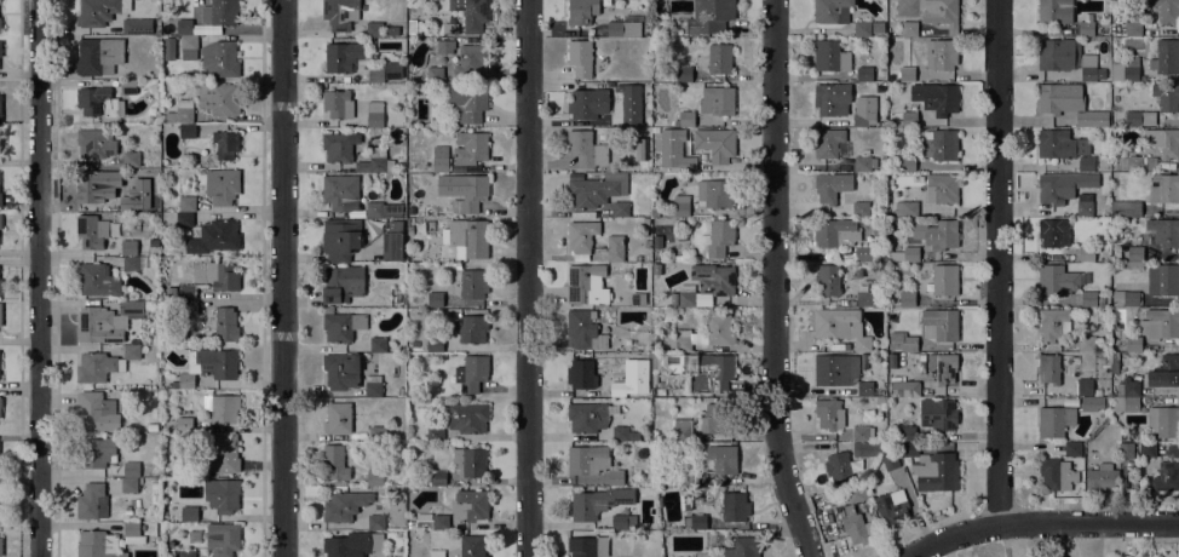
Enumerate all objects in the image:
building: (1167, 10)
building: (99, 11)
building: (581, 11)
building: (832, 11)
building: (1053, 11)
building: (220, 12)
building: (931, 12)
building: (341, 13)
building: (475, 15)
building: (707, 17)
building: (137, 25)
building: (412, 25)
building: (876, 27)
building: (185, 28)
building: (449, 28)
building: (1086, 28)
building: (1133, 28)
building: (374, 29)
building: (622, 29)
building: (862, 29)
building: (909, 29)
building: (390, 30)
building: (1068, 30)
building: (188, 47)
building: (444, 47)
building: (0, 48)
building: (168, 48)
building: (941, 54)
building: (1058, 54)
building: (98, 56)
building: (830, 56)
building: (343, 57)
building: (580, 57)
building: (1166, 57)
building: (719, 58)
building: (219, 59)
building: (471, 61)
building: (1091, 68)
building: (1125, 69)
building: (392, 70)
building: (684, 73)
building: (864, 73)
building: (375, 74)
building: (436, 74)
building: (907, 74)
building: (1060, 75)
building: (128, 87)
building: (936, 97)
building: (1166, 97)
building: (218, 98)
building: (832, 98)
building: (717, 101)
building: (98, 102)
building: (468, 102)
building: (629, 102)
building: (334, 103)
building: (587, 103)
building: (1068, 107)
building: (0, 108)
building: (179, 113)
building: (374, 114)
building: (1140, 117)
building: (686, 119)
building: (862, 119)
building: (907, 119)
building: (186, 131)
building: (827, 142)
building: (94, 143)
building: (1168, 143)
building: (226, 144)
building: (1060, 144)
building: (941, 145)
building: (339, 147)
building: (0, 148)
building: (721, 148)
building: (586, 149)
building: (638, 149)
building: (470, 150)
building: (132, 159)
building: (439, 159)
building: (375, 161)
building: (864, 162)
building: (1086, 162)
building: (1135, 162)
building: (907, 163)
building: (688, 167)
building: (610, 168)
building: (222, 185)
building: (1062, 186)
building: (92, 188)
building: (593, 188)
building: (826, 188)
building: (942, 188)
building: (1163, 188)
building: (339, 191)
building: (715, 193)
building: (0, 194)
building: (471, 195)
building: (127, 203)
building: (186, 203)
building: (1083, 205)
building: (679, 207)
building: (859, 208)
building: (905, 208)
building: (1125, 208)
building: (383, 209)
building: (620, 209)
building: (655, 212)
building: (184, 219)
building: (418, 219)
building: (1117, 219)
building: (0, 220)
building: (654, 220)
building: (645, 222)
building: (409, 230)
building: (91, 231)
building: (834, 232)
building: (1053, 232)
building: (939, 234)
building: (1163, 234)
building: (581, 236)
building: (214, 237)
building: (465, 237)
building: (718, 237)
building: (340, 239)
building: (392, 241)
building: (646, 243)
building: (128, 247)
building: (614, 248)
building: (1086, 253)
building: (1129, 253)
building: (862, 254)
building: (909, 254)
road: (996, 263)
building: (131, 264)
building: (654, 265)
building: (1134, 265)
building: (223, 276)
road: (39, 278)
road: (281, 278)
road: (527, 278)
building: (96, 280)
building: (827, 280)
building: (944, 280)
building: (1058, 280)
building: (1163, 280)
road: (773, 281)
building: (341, 283)
building: (470, 283)
building: (586, 285)
building: (0, 286)
building: (704, 286)
building: (186, 292)
building: (1125, 298)
building: (435, 299)
building: (638, 299)
building: (865, 299)
building: (907, 299)
building: (1091, 299)
building: (189, 308)
building: (0, 314)
building: (105, 322)
building: (835, 322)
building: (453, 323)
building: (1051, 323)
building: (1160, 323)
building: (225, 325)
building: (938, 325)
building: (341, 326)
building: (472, 328)
building: (583, 329)
building: (643, 334)
building: (701, 335)
building: (620, 339)
building: (903, 341)
building: (1087, 343)
building: (1133, 343)
building: (376, 344)
building: (435, 344)
building: (862, 344)
building: (654, 346)
building: (1171, 346)
building: (633, 361)
building: (1114, 362)
building: (102, 364)
building: (208, 364)
building: (943, 367)
building: (1048, 368)
building: (834, 369)
building: (341, 371)
building: (717, 371)
building: (1164, 372)
building: (471, 373)
building: (644, 377)
building: (585, 379)
building: (619, 385)
building: (373, 386)
building: (1085, 386)
building: (876, 387)
building: (1127, 387)
building: (864, 389)
building: (904, 389)
building: (401, 391)
building: (1097, 391)
building: (880, 401)
building: (1070, 401)
building: (1093, 402)
building: (0, 403)
building: (1127, 403)
building: (222, 407)
building: (96, 412)
building: (829, 414)
building: (938, 414)
building: (467, 417)
building: (587, 417)
building: (338, 418)
building: (715, 419)
building: (1054, 421)
building: (1163, 421)
building: (184, 425)
building: (151, 427)
building: (681, 429)
building: (378, 433)
building: (435, 433)
building: (623, 433)
building: (862, 433)
building: (907, 433)
building: (943, 446)
building: (865, 449)
building: (1072, 449)
building: (1125, 449)
building: (1146, 449)
building: (96, 452)
building: (640, 452)
building: (225, 454)
building: (587, 459)
building: (720, 459)
building: (334, 461)
building: (470, 461)
building: (890, 461)
building: (0, 463)
building: (838, 467)
building: (932, 469)
building: (131, 470)
building: (1056, 473)
building: (1168, 476)
building: (437, 477)
building: (615, 477)
building: (689, 477)
building: (1100, 477)
building: (374, 478)
building: (675, 478)
building: (128, 484)
building: (850, 494)
building: (224, 496)
building: (686, 499)
building: (91, 501)
building: (597, 503)
building: (344, 505)
building: (470, 505)
building: (734, 506)
building: (891, 507)
building: (0, 511)
building: (189, 513)
building: (422, 521)
building: (439, 521)
building: (695, 521)
building: (375, 522)
building: (623, 522)
road: (1040, 523)
building: (409, 526)
building: (855, 526)
building: (133, 533)
building: (223, 539)
building: (352, 544)
building: (98, 545)
building: (0, 546)
building: (472, 546)
building: (588, 546)
building: (744, 547)
building: (186, 553)
building: (436, 553)

